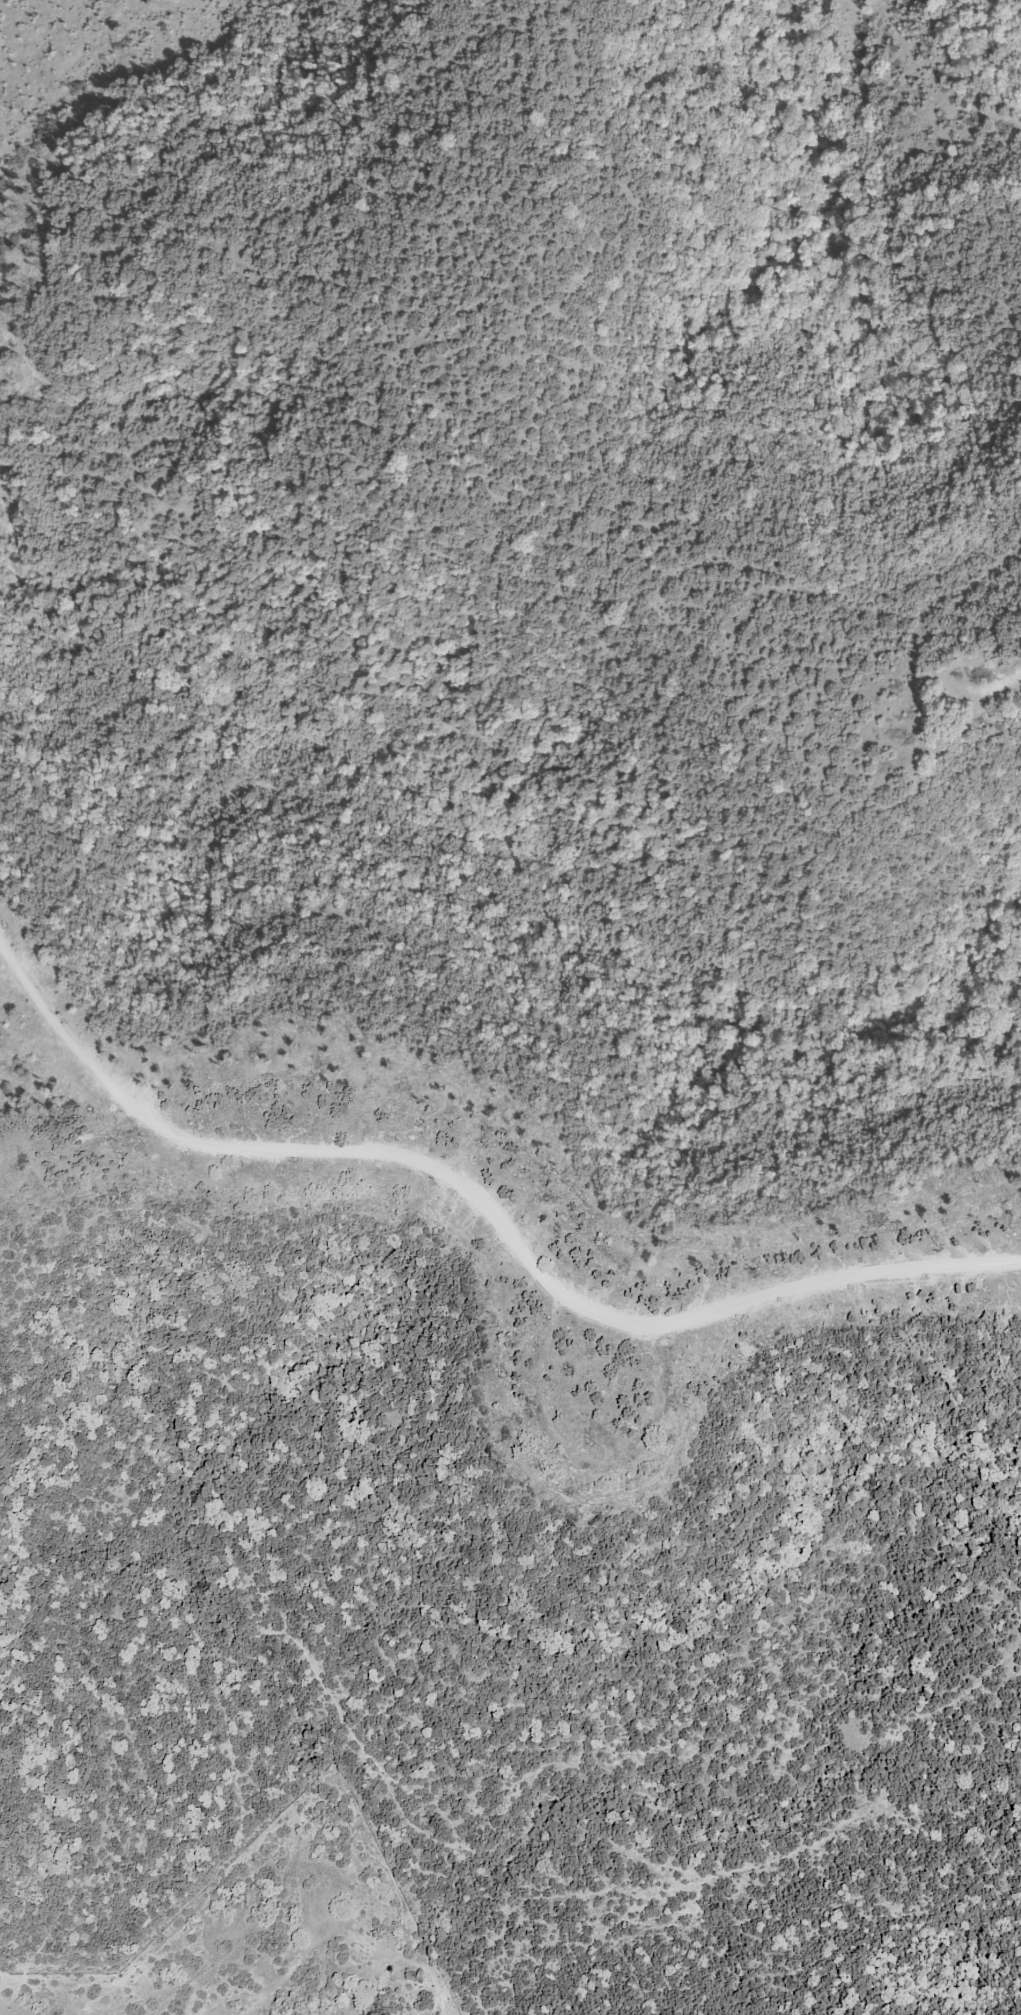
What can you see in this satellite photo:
road: (477, 1204)

